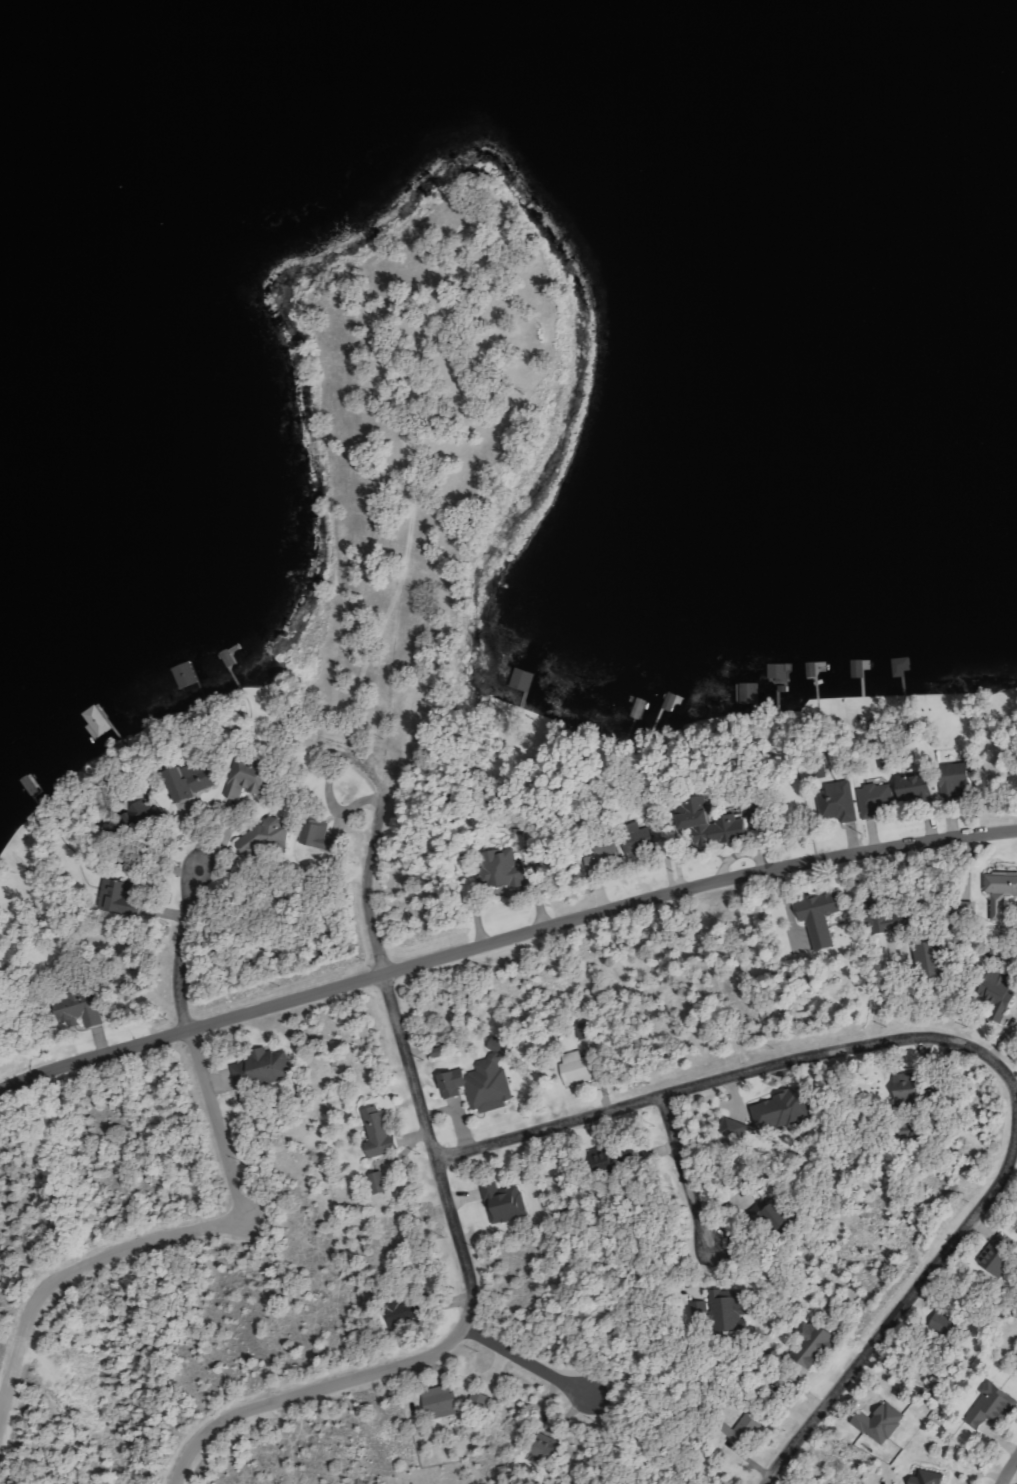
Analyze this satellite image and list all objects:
building: (781, 672)
building: (751, 692)
building: (99, 721)
building: (959, 774)
building: (250, 777)
building: (193, 779)
building: (918, 786)
building: (875, 798)
building: (840, 802)
building: (715, 823)
building: (318, 834)
building: (504, 866)
road: (364, 882)
building: (1002, 892)
building: (121, 896)
building: (823, 916)
building: (882, 918)
road: (503, 939)
road: (180, 946)
building: (933, 960)
building: (1001, 989)
road: (964, 1043)
building: (264, 1067)
building: (578, 1068)
building: (485, 1080)
building: (909, 1085)
road: (1015, 1090)
building: (778, 1113)
building: (382, 1132)
road: (684, 1171)
building: (380, 1182)
building: (506, 1202)
building: (783, 1215)
road: (167, 1238)
building: (1002, 1255)
building: (729, 1308)
building: (404, 1310)
road: (465, 1316)
building: (949, 1325)
building: (816, 1343)
road: (524, 1362)
building: (993, 1405)
building: (883, 1422)
building: (740, 1428)
building: (547, 1446)
road: (1008, 1469)
building: (928, 1478)

